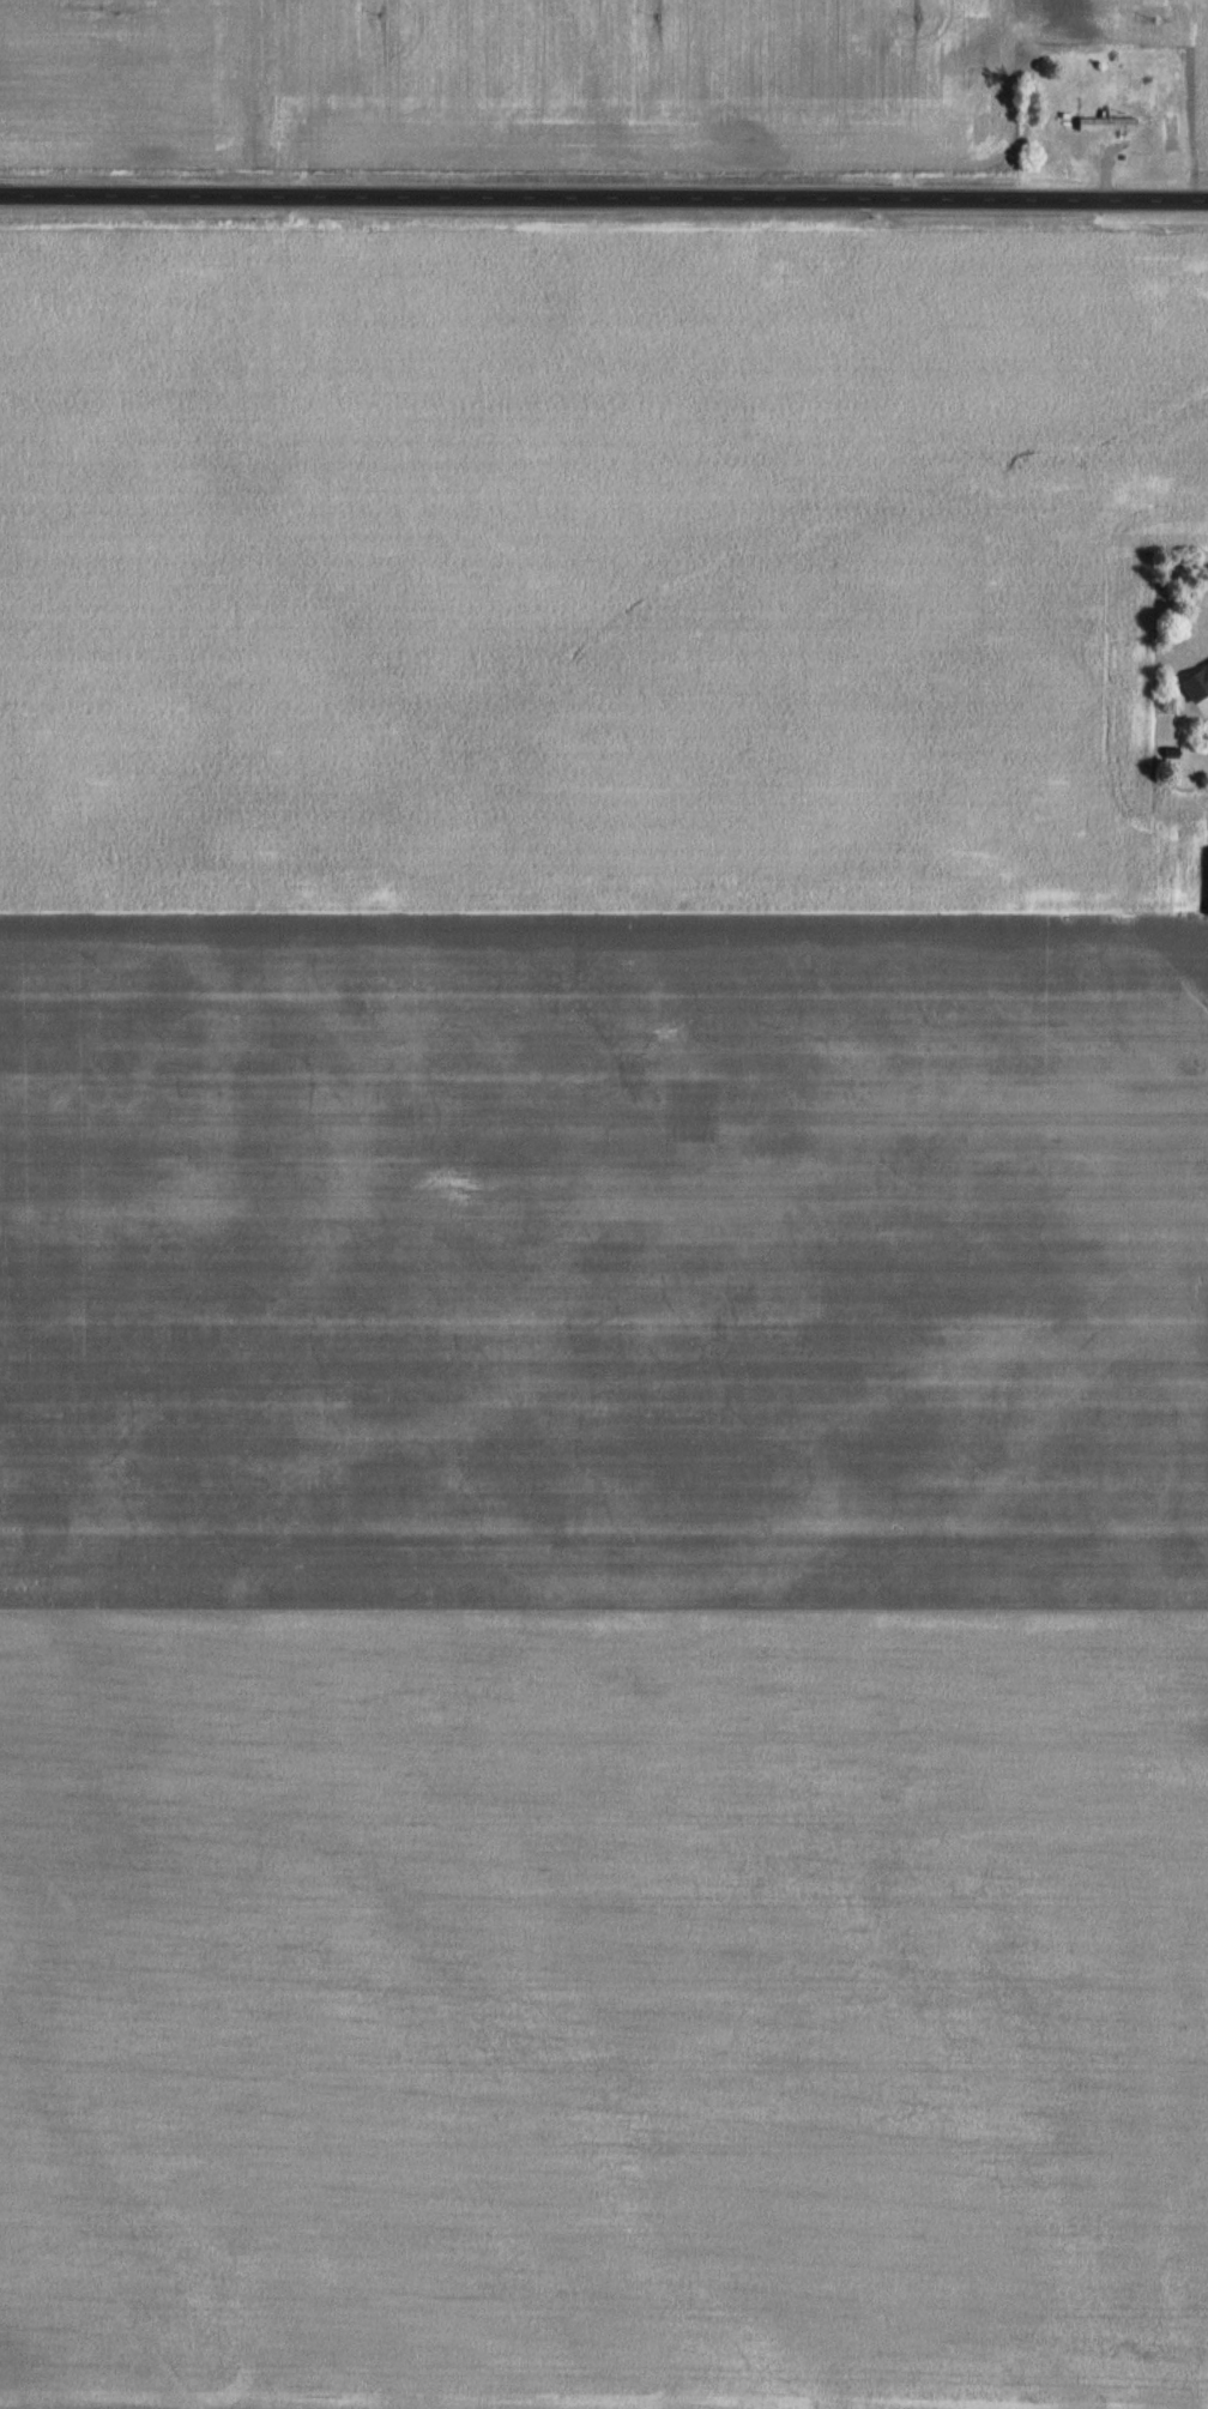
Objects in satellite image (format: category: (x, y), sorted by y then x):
road: (604, 197)
building: (1202, 672)

